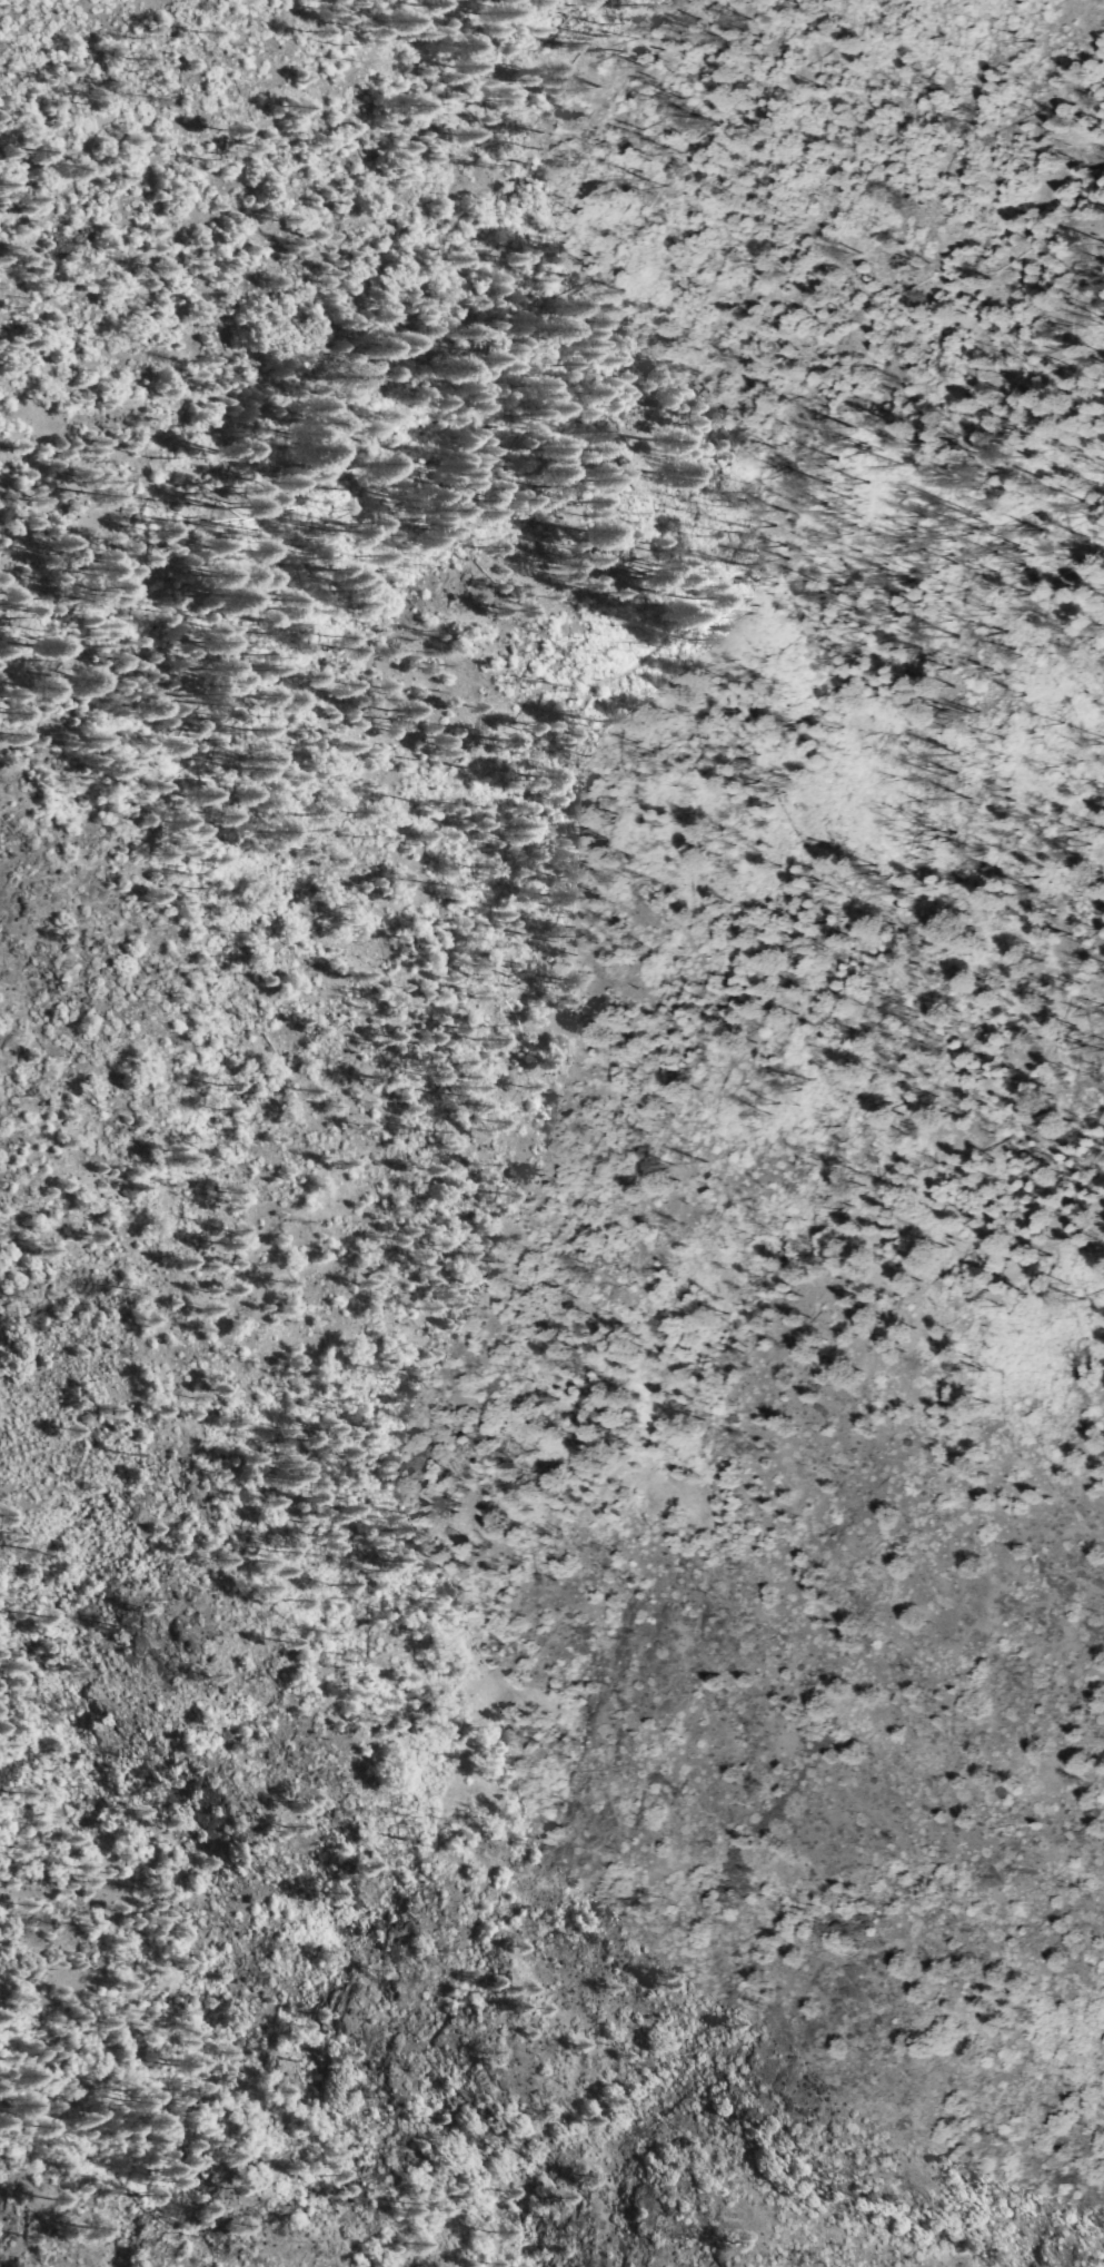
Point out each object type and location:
road: (557, 716)

